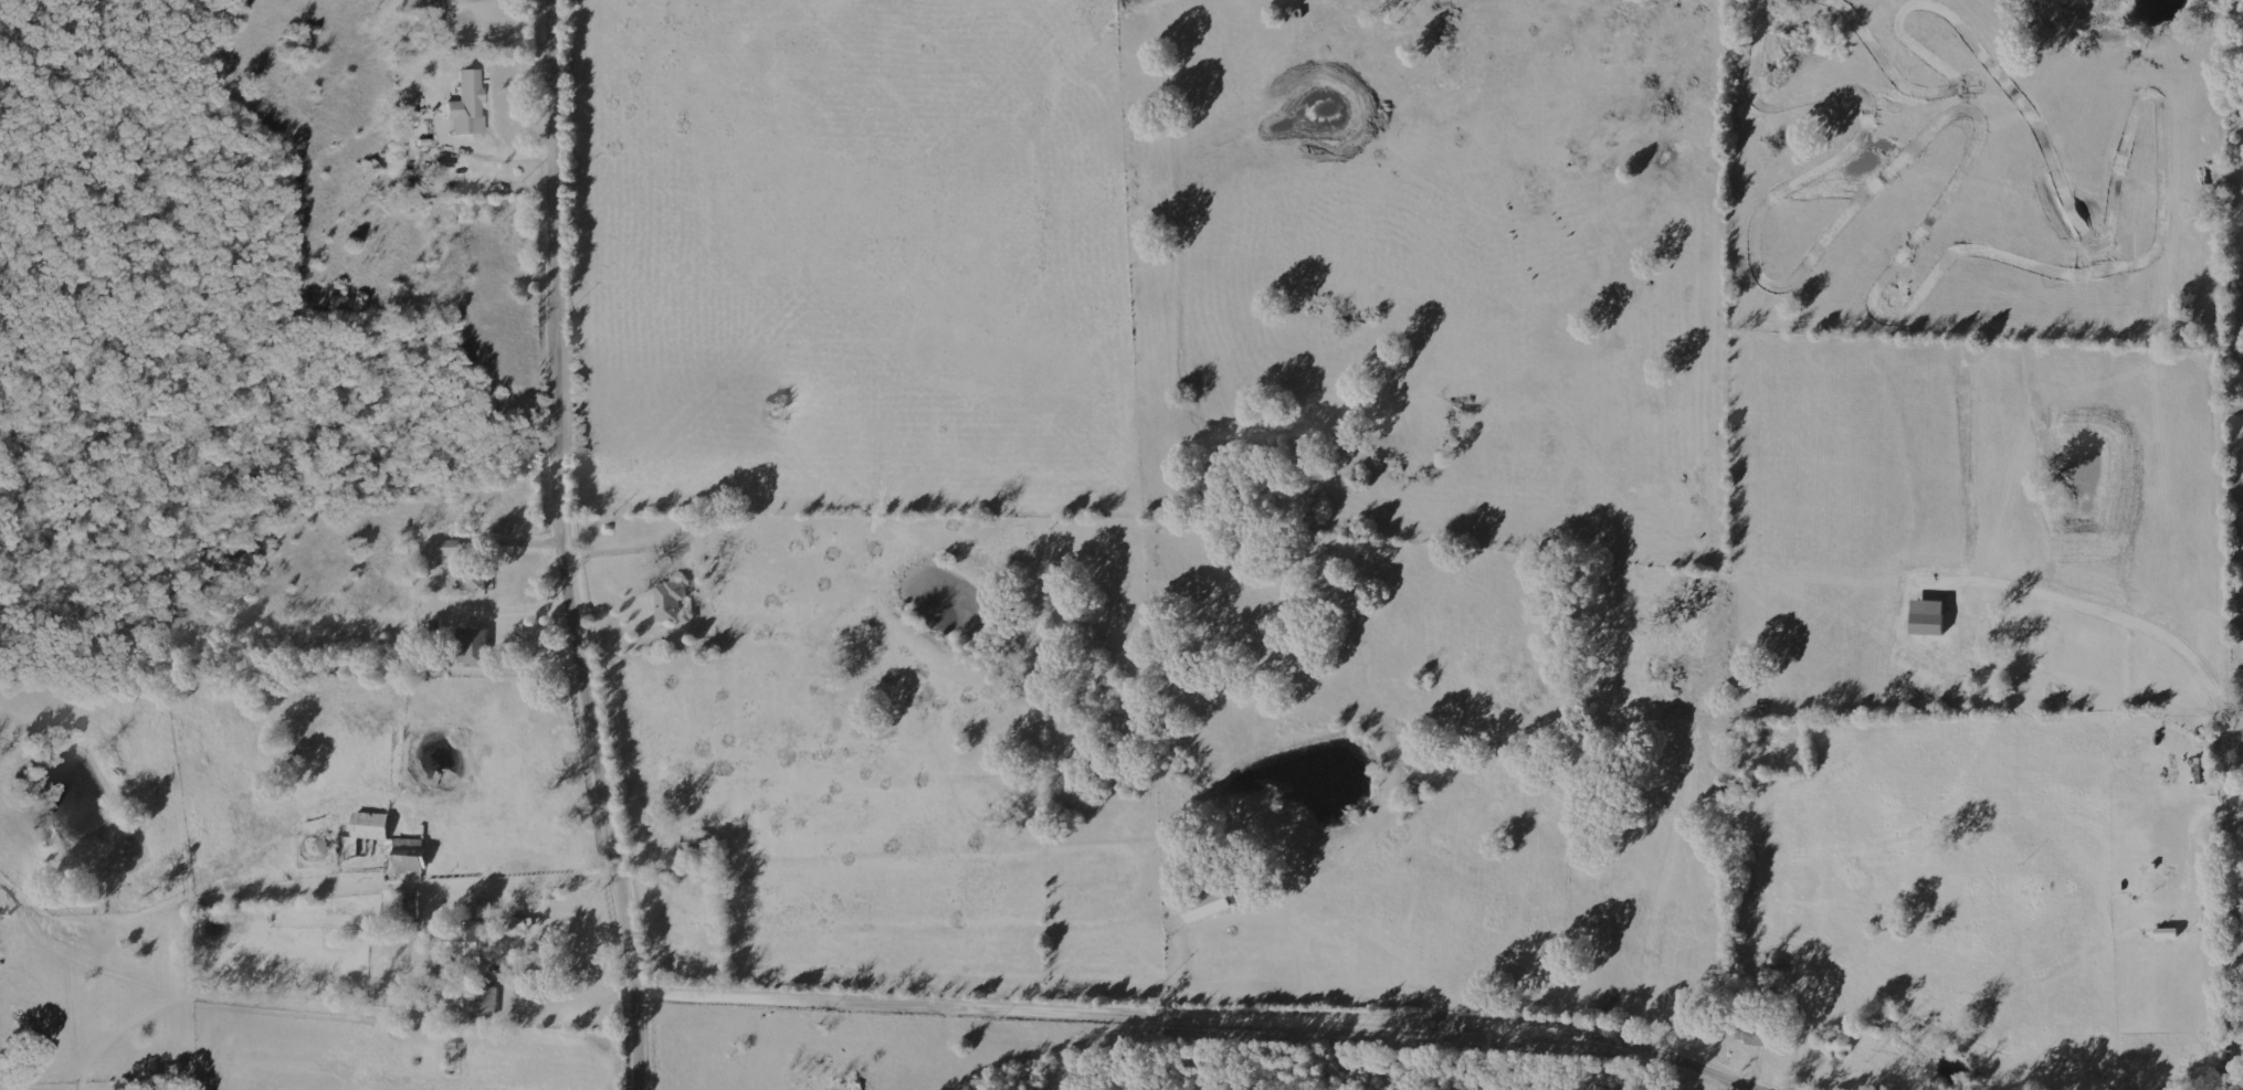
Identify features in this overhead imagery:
building: (466, 105)
building: (442, 548)
road: (562, 548)
building: (476, 582)
building: (671, 600)
building: (473, 647)
building: (371, 826)
building: (410, 855)
road: (2240, 865)
building: (486, 907)
building: (477, 932)
road: (556, 972)
building: (481, 1004)
road: (1207, 1020)
road: (2232, 1072)

